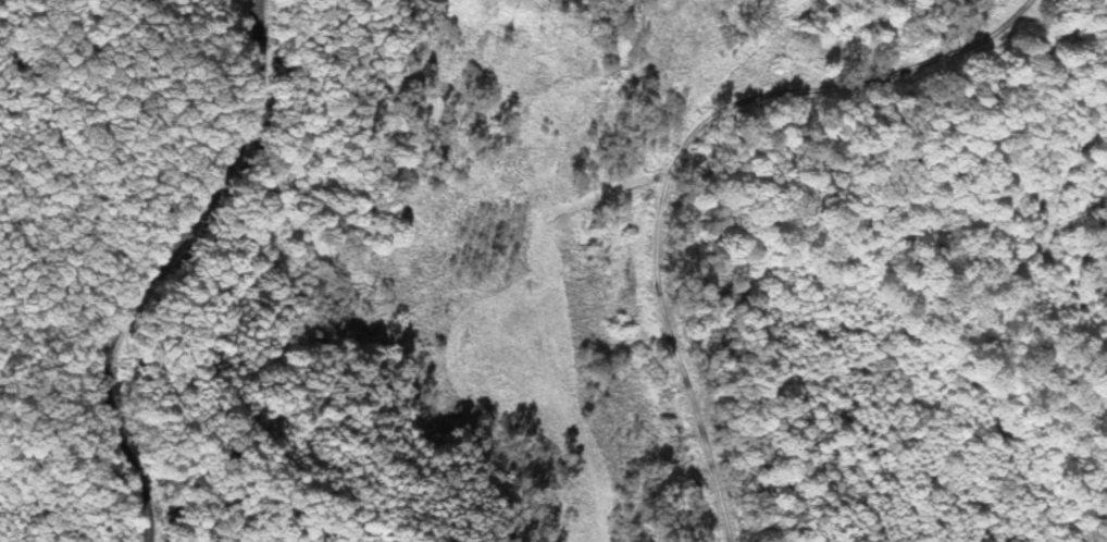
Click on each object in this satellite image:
road: (842, 2)
road: (709, 221)

